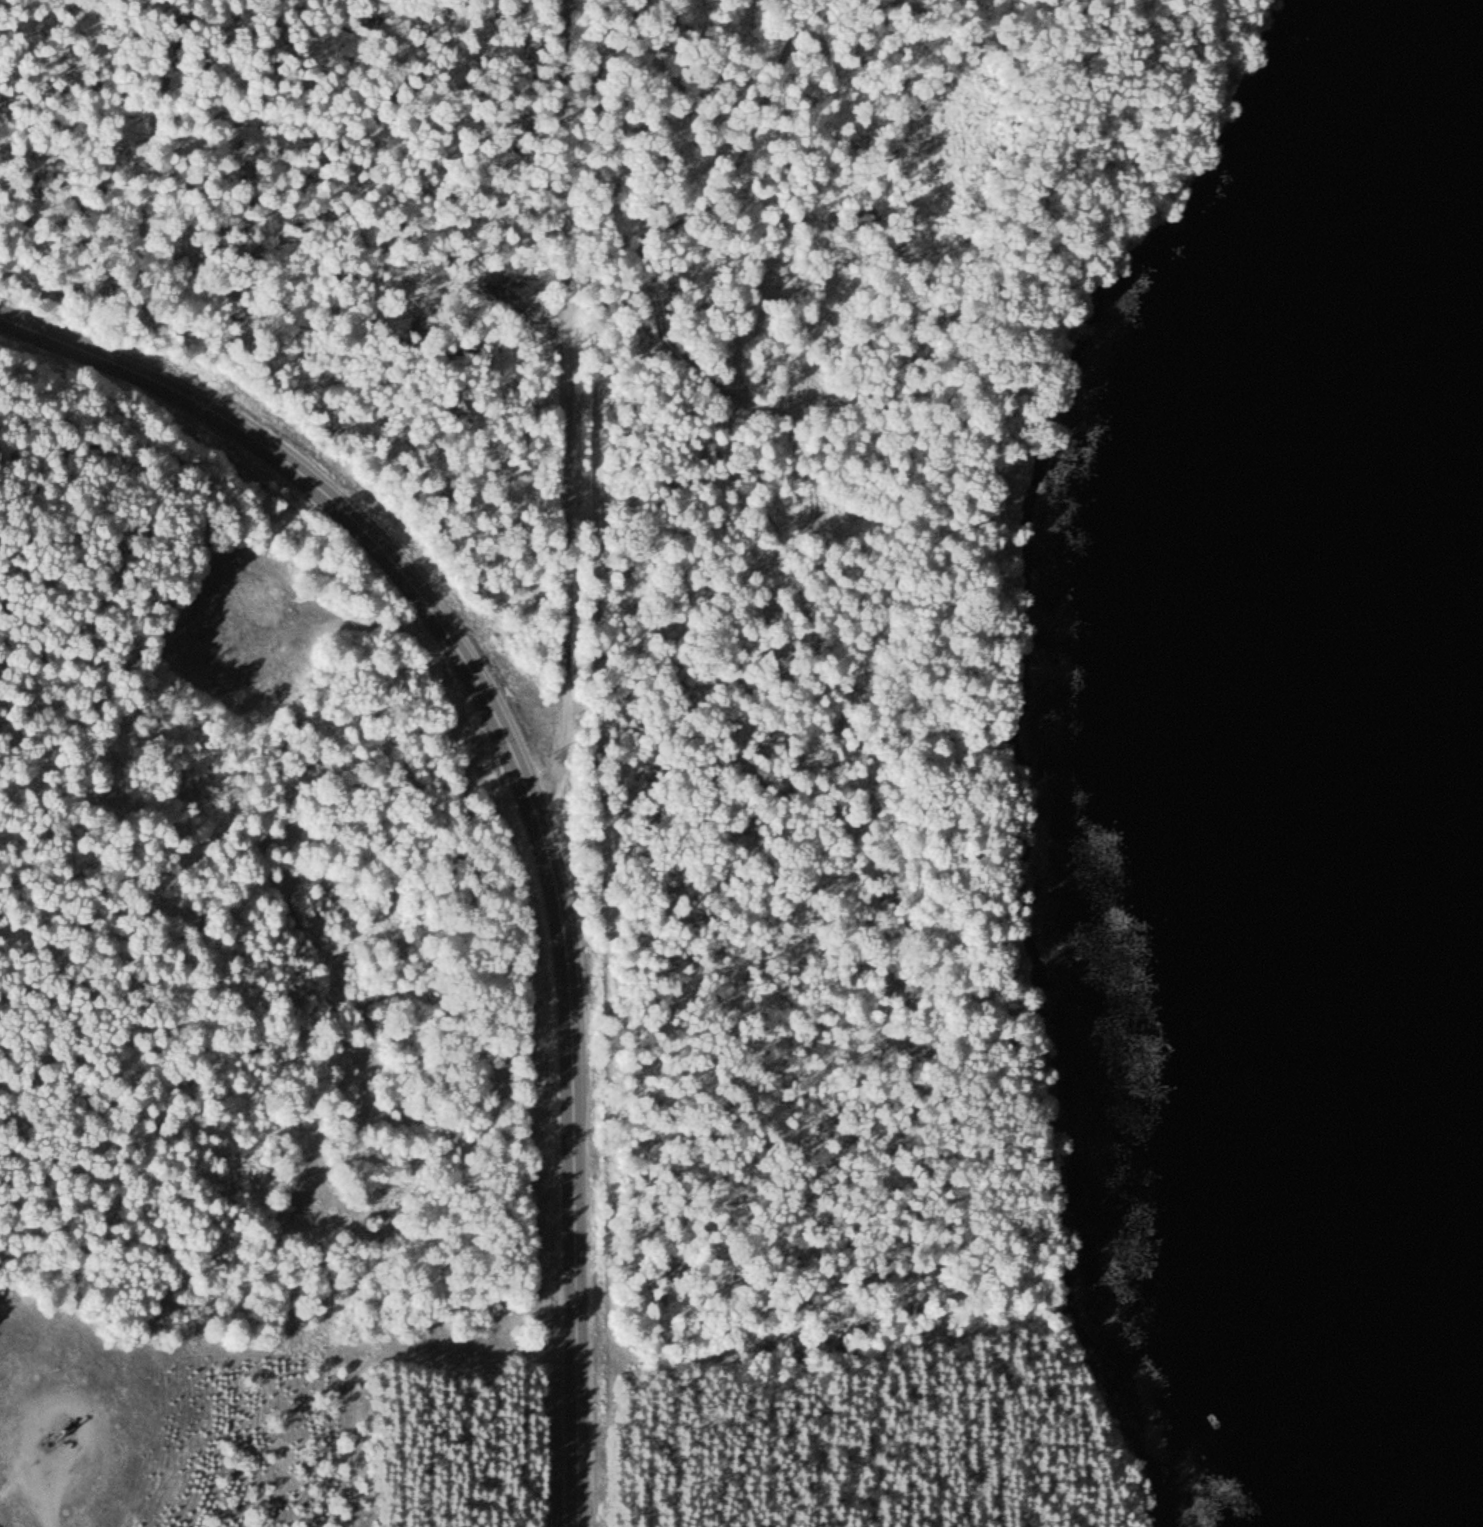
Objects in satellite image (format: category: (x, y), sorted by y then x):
road: (583, 149)
road: (569, 414)
road: (369, 543)
road: (574, 1226)

